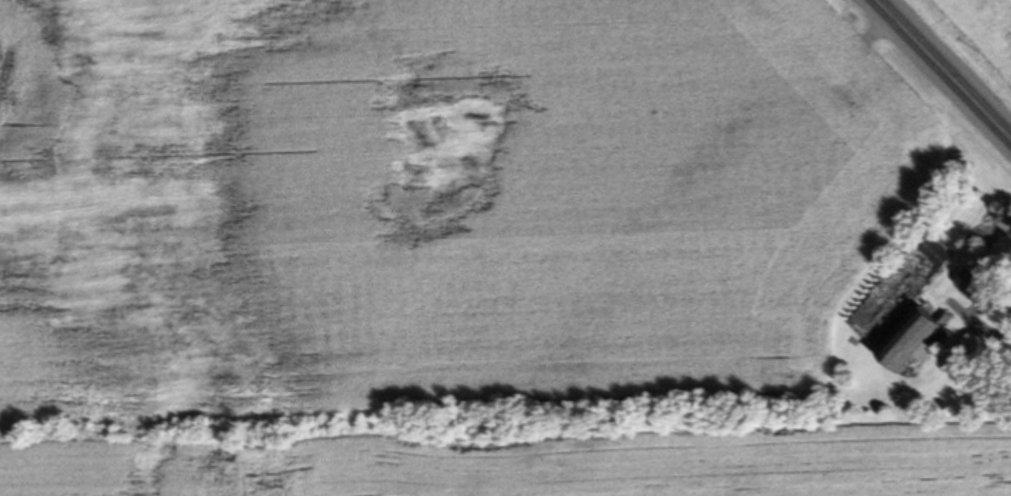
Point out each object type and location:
road: (943, 69)
building: (937, 257)
building: (972, 286)
building: (913, 342)

